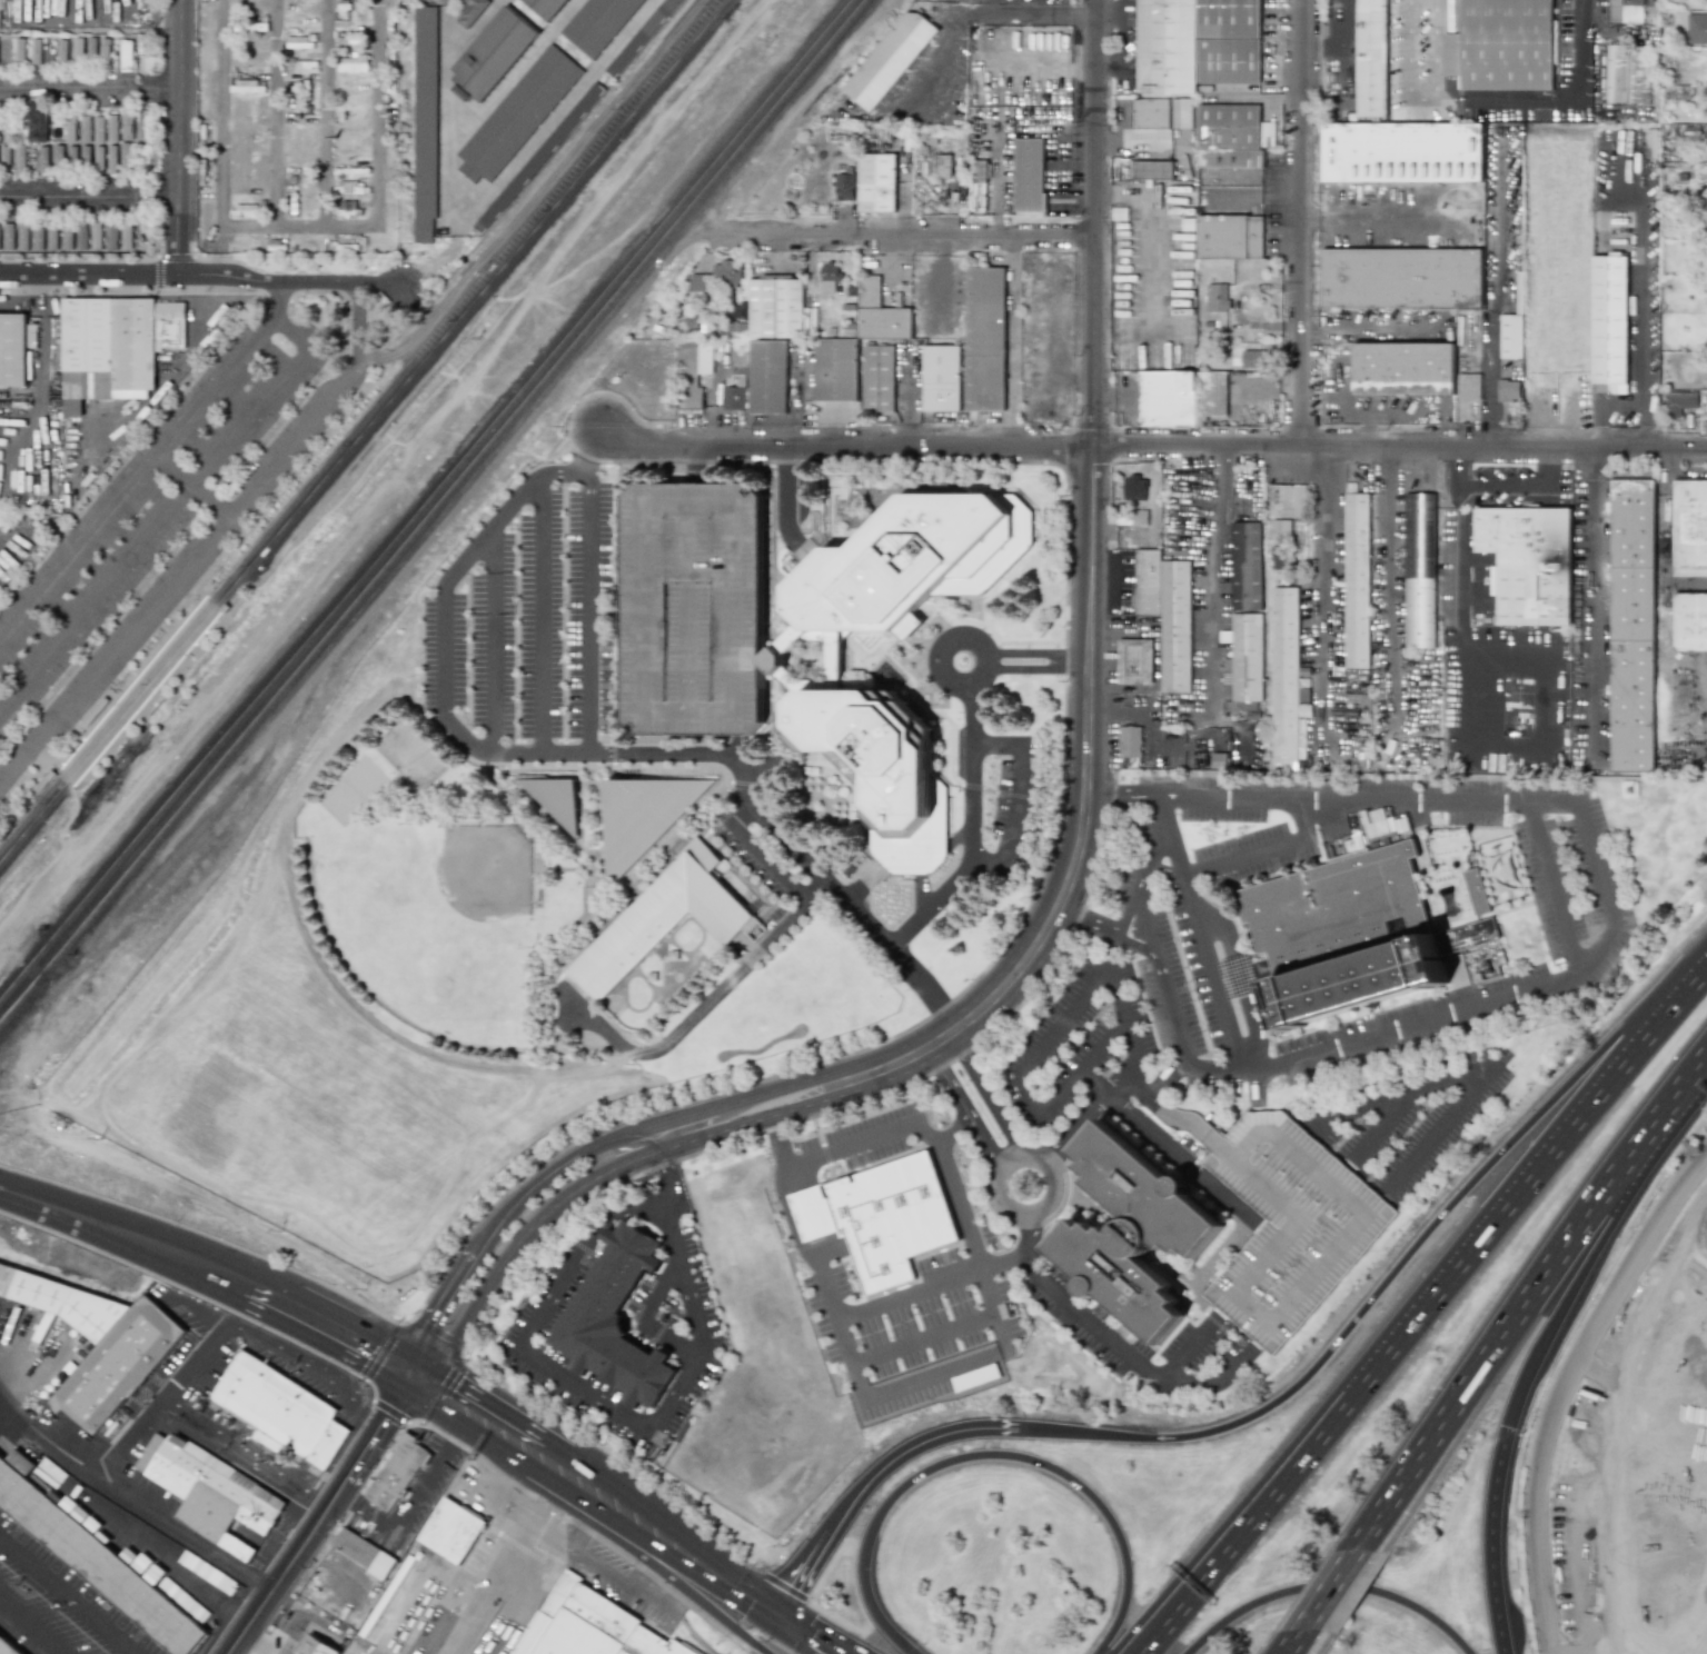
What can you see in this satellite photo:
building: (546, 8)
building: (1632, 11)
building: (469, 12)
road: (1034, 16)
building: (598, 23)
building: (1696, 28)
building: (642, 37)
building: (1229, 41)
building: (296, 42)
building: (1503, 44)
building: (90, 47)
building: (19, 49)
building: (77, 49)
building: (61, 50)
road: (1435, 50)
building: (34, 51)
building: (103, 51)
building: (493, 53)
building: (125, 56)
building: (1371, 58)
parking lot: (1339, 60)
building: (893, 61)
building: (351, 64)
building: (1627, 73)
road: (1408, 74)
building: (241, 87)
road: (90, 88)
road: (1575, 103)
building: (247, 108)
road: (225, 112)
road: (277, 112)
road: (329, 112)
building: (517, 113)
building: (1151, 113)
building: (1181, 113)
building: (36, 121)
building: (426, 123)
building: (1228, 126)
building: (126, 127)
building: (85, 128)
building: (111, 128)
building: (343, 128)
building: (70, 129)
building: (98, 129)
building: (1268, 134)
road: (178, 137)
building: (1651, 137)
building: (299, 142)
building: (341, 148)
building: (1401, 151)
building: (85, 155)
building: (71, 156)
building: (125, 156)
building: (4, 157)
building: (20, 158)
building: (58, 158)
building: (538, 158)
building: (42, 159)
building: (98, 159)
building: (111, 159)
building: (943, 166)
building: (247, 169)
building: (1152, 169)
building: (349, 170)
building: (979, 170)
building: (1032, 177)
building: (880, 183)
building: (850, 186)
road: (378, 187)
building: (350, 188)
building: (244, 189)
road: (1453, 196)
road: (87, 197)
building: (1602, 199)
building: (244, 210)
parking lot: (1402, 216)
road: (1300, 222)
road: (906, 233)
building: (81, 235)
building: (9, 236)
building: (23, 236)
building: (51, 236)
building: (67, 236)
building: (96, 236)
building: (111, 236)
building: (38, 237)
building: (126, 237)
building: (1230, 237)
road: (217, 249)
road: (201, 273)
building: (731, 273)
building: (832, 278)
building: (1402, 278)
building: (704, 283)
building: (853, 291)
building: (1520, 292)
building: (1217, 297)
road: (280, 298)
building: (703, 299)
building: (778, 308)
building: (736, 310)
road: (1638, 312)
building: (882, 313)
building: (1609, 321)
building: (731, 328)
road: (359, 330)
building: (814, 333)
building: (1511, 336)
building: (988, 339)
building: (116, 347)
building: (16, 349)
road: (187, 357)
building: (1252, 358)
building: (742, 359)
building: (695, 362)
building: (1405, 368)
building: (837, 371)
railway: (539, 373)
building: (770, 378)
building: (943, 378)
building: (881, 379)
road: (1489, 380)
building: (742, 382)
building: (1469, 386)
building: (1509, 390)
building: (1180, 396)
building: (736, 399)
building: (693, 401)
building: (1679, 401)
railway: (361, 424)
railway: (368, 431)
road: (1153, 444)
road: (845, 461)
road: (398, 480)
road: (138, 484)
road: (1525, 485)
road: (198, 487)
building: (1134, 487)
road: (787, 491)
building: (1289, 499)
railway: (434, 514)
road: (504, 516)
building: (1130, 517)
road: (169, 518)
parking lot: (160, 527)
building: (1280, 528)
building: (1690, 528)
building: (1279, 555)
building: (1529, 561)
building: (1247, 565)
building: (1420, 569)
building: (909, 570)
road: (1220, 576)
building: (1148, 580)
building: (1358, 580)
road: (177, 586)
road: (1389, 587)
road: (1323, 591)
railway: (206, 594)
road: (1592, 598)
road: (1462, 602)
parking lot: (562, 605)
building: (225, 606)
road: (586, 607)
building: (696, 609)
parking garage: (696, 609)
road: (539, 614)
building: (1689, 622)
building: (1175, 626)
building: (1631, 626)
road: (488, 642)
road: (439, 651)
building: (1247, 656)
road: (983, 659)
building: (1134, 660)
road: (1019, 667)
building: (1286, 675)
road: (1552, 699)
road: (1088, 705)
building: (95, 710)
road: (969, 726)
road: (1695, 727)
building: (1129, 741)
road: (1152, 746)
park: (413, 755)
building: (1247, 761)
road: (743, 773)
building: (50, 774)
road: (1139, 789)
road: (1013, 790)
railway: (81, 794)
road: (1102, 795)
road: (1138, 799)
building: (559, 800)
building: (646, 818)
road: (81, 838)
road: (1259, 849)
road: (767, 857)
road: (1144, 867)
railway: (109, 875)
road: (1604, 875)
building: (1476, 888)
building: (663, 919)
road: (1143, 921)
building: (1340, 929)
building: (1465, 934)
road: (1110, 947)
road: (1202, 949)
road: (1117, 980)
parking lot: (1187, 980)
road: (1240, 985)
road: (1535, 986)
railway: (23, 998)
road: (698, 1006)
road: (1061, 1016)
road: (1105, 1035)
parking lot: (1189, 1044)
road: (1480, 1064)
road: (1162, 1073)
road: (1110, 1086)
road: (1254, 1088)
road: (984, 1093)
road: (1045, 1105)
road: (965, 1106)
road: (1673, 1107)
road: (1177, 1118)
road: (1303, 1124)
road: (1383, 1124)
road: (603, 1125)
road: (953, 1125)
road: (923, 1132)
road: (772, 1137)
road: (1167, 1143)
road: (626, 1144)
road: (1042, 1155)
road: (669, 1177)
road: (538, 1185)
road: (1515, 1210)
road: (788, 1215)
building: (880, 1215)
parking lot: (1299, 1217)
building: (1283, 1218)
parking lot: (1283, 1218)
road: (1256, 1222)
road: (1683, 1235)
building: (1131, 1236)
road: (520, 1240)
road: (197, 1262)
road: (1401, 1267)
road: (932, 1283)
road: (1571, 1287)
road: (1293, 1292)
building: (64, 1303)
road: (448, 1303)
road: (1073, 1308)
road: (1218, 1315)
building: (618, 1321)
road: (643, 1321)
road: (942, 1327)
road: (998, 1342)
road: (1189, 1347)
road: (1495, 1352)
road: (401, 1357)
traffic signals: (416, 1358)
road: (200, 1363)
road: (426, 1365)
building: (120, 1366)
road: (394, 1368)
road: (314, 1369)
road: (408, 1369)
traffic signals: (437, 1372)
traffic signals: (400, 1382)
road: (1218, 1382)
road: (428, 1384)
road: (1562, 1384)
road: (861, 1385)
road: (410, 1389)
road: (582, 1389)
road: (398, 1393)
road: (633, 1394)
traffic signals: (420, 1397)
road: (408, 1401)
road: (172, 1404)
road: (654, 1411)
building: (284, 1412)
road: (506, 1413)
road: (472, 1434)
road: (58, 1442)
road: (915, 1448)
road: (245, 1451)
road: (991, 1455)
building: (400, 1474)
road: (626, 1491)
building: (212, 1494)
road: (570, 1499)
road: (320, 1501)
road: (148, 1509)
road: (570, 1523)
road: (315, 1530)
building: (458, 1534)
road: (1490, 1538)
building: (423, 1547)
road: (1224, 1547)
road: (1240, 1547)
building: (359, 1548)
road: (502, 1548)
building: (95, 1560)
road: (599, 1565)
building: (385, 1566)
road: (805, 1568)
road: (726, 1570)
parking lot: (607, 1573)
road: (696, 1573)
road: (646, 1576)
building: (160, 1582)
road: (1331, 1586)
road: (1328, 1592)
road: (689, 1593)
road: (68, 1596)
road: (467, 1605)
traffic signals: (781, 1608)
road: (777, 1614)
road: (512, 1616)
road: (795, 1617)
traffic signals: (774, 1621)
building: (593, 1625)
road: (28, 1628)
building: (376, 1628)
road: (798, 1637)
road: (697, 1638)
road: (837, 1640)
road: (828, 1641)
road: (1294, 1642)
building: (8, 1646)
building: (319, 1646)

